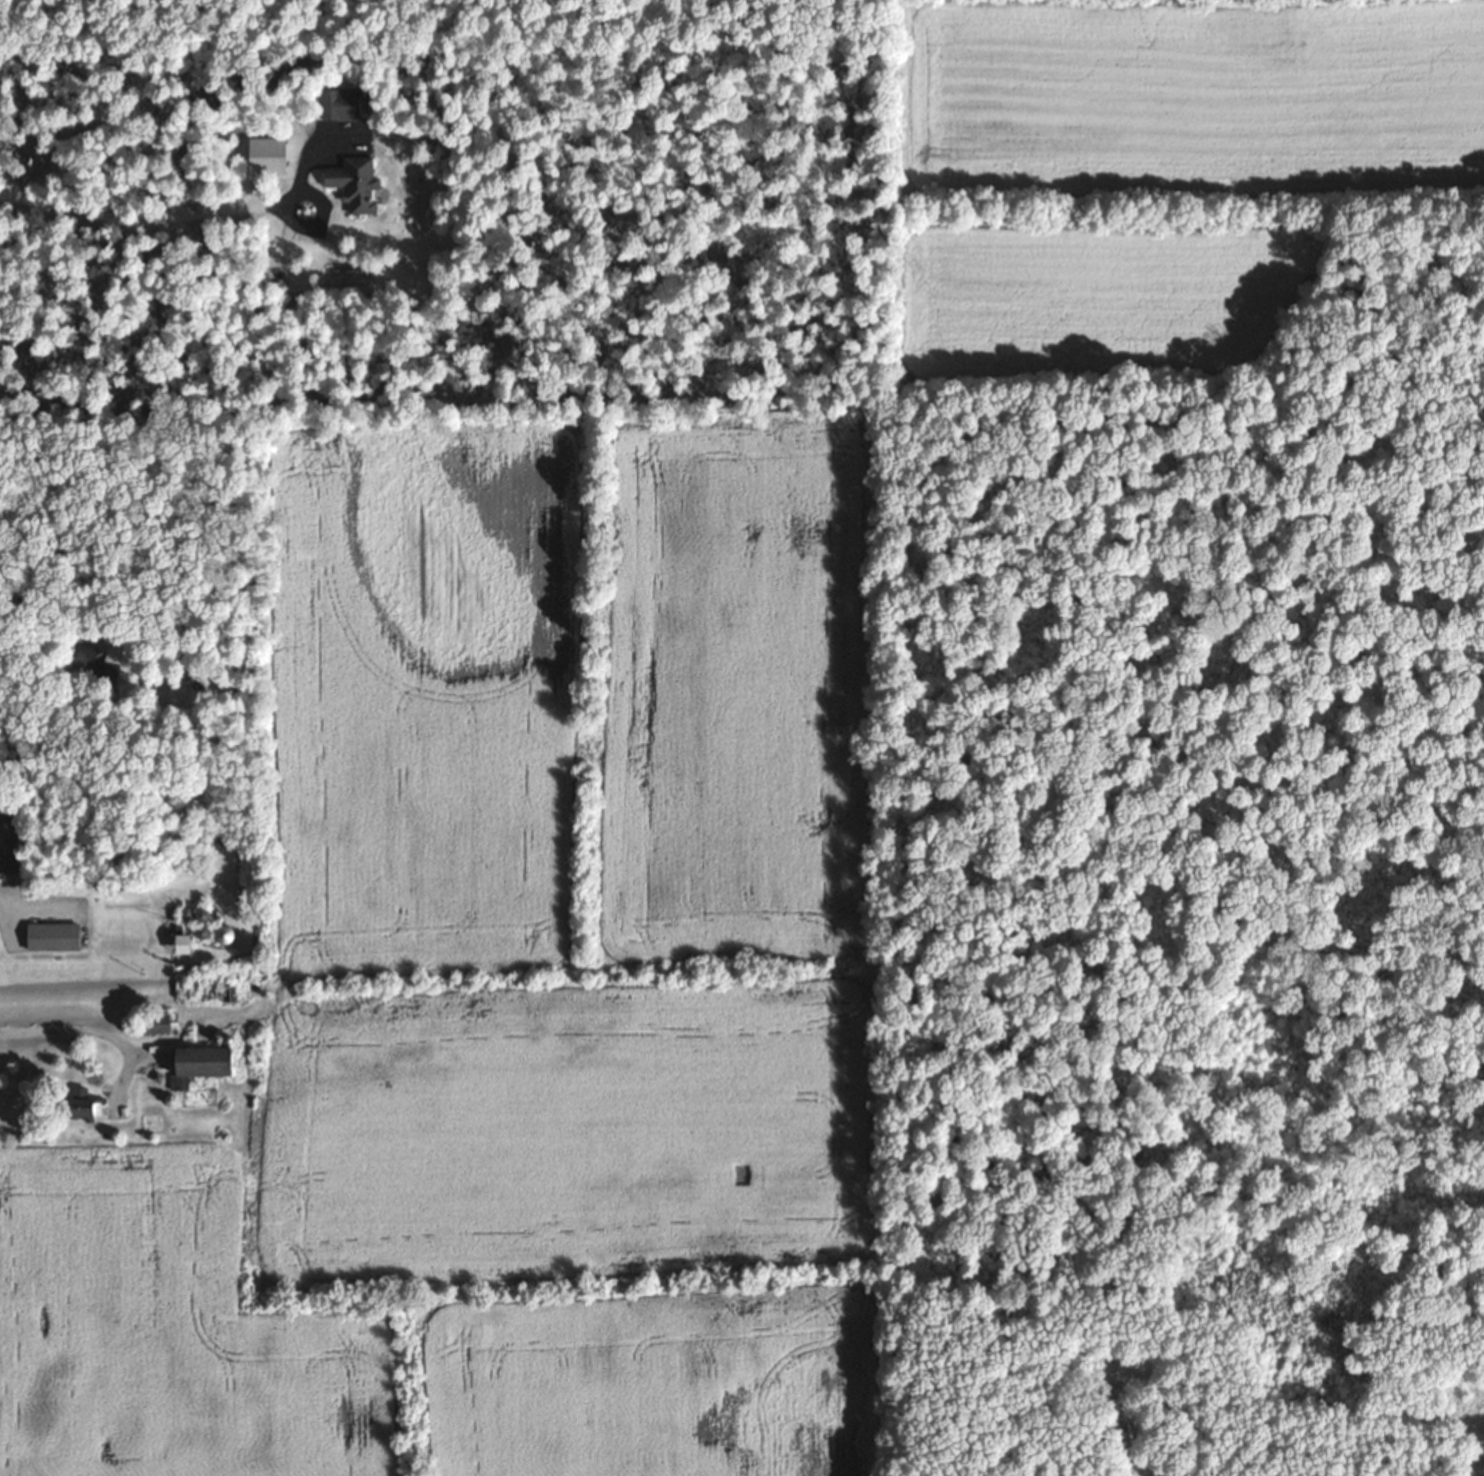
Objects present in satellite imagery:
building: (337, 105)
building: (352, 184)
road: (152, 217)
building: (90, 664)
building: (218, 935)
building: (176, 944)
building: (152, 1024)
building: (195, 1063)
building: (77, 1106)

